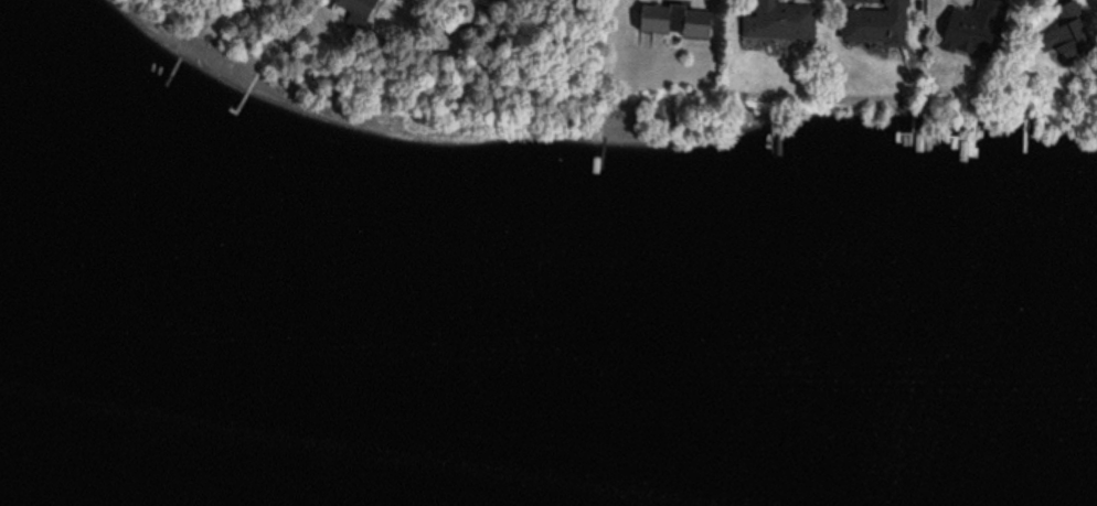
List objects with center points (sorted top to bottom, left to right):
building: (667, 22)
building: (776, 23)
building: (870, 25)

